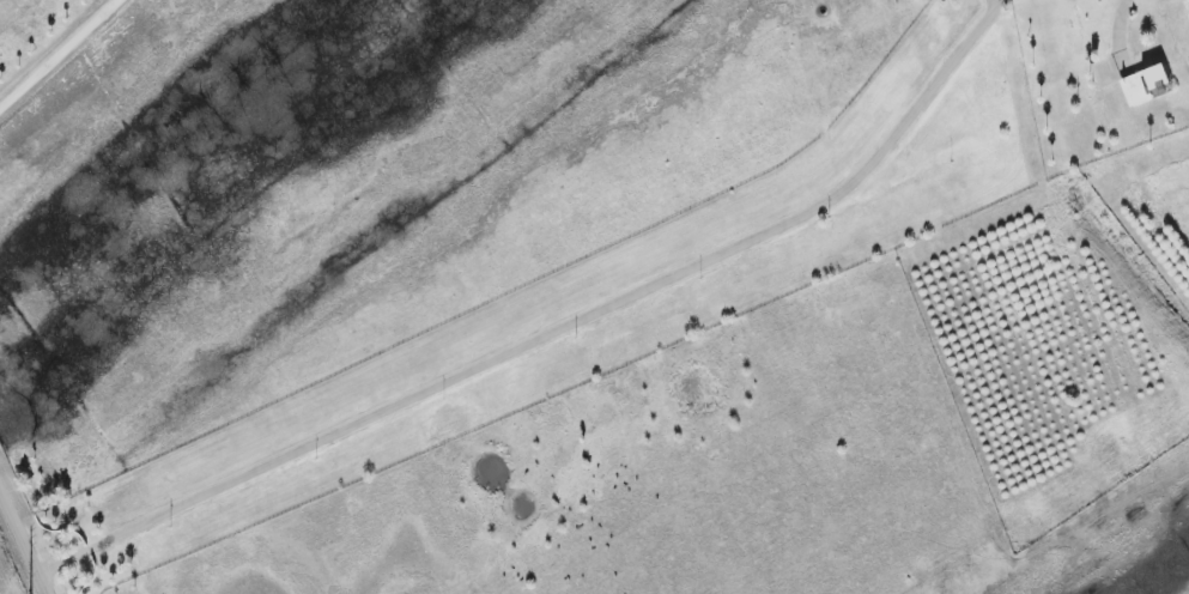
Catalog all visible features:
road: (1013, 7)
road: (995, 11)
road: (59, 54)
building: (1146, 85)
road: (863, 186)
road: (360, 436)
road: (25, 539)

